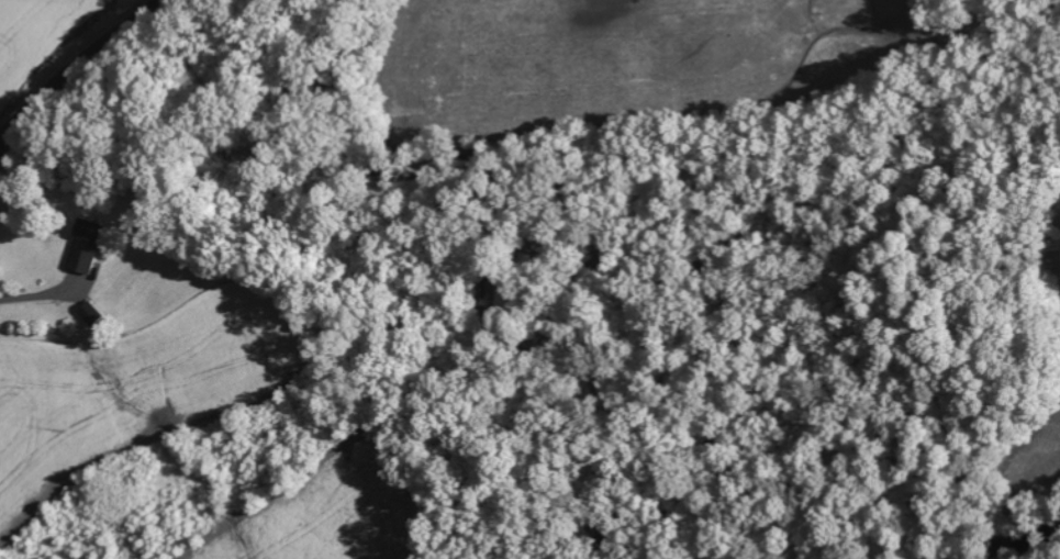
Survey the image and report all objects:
road: (74, 62)
building: (87, 247)
road: (37, 297)
building: (91, 314)

